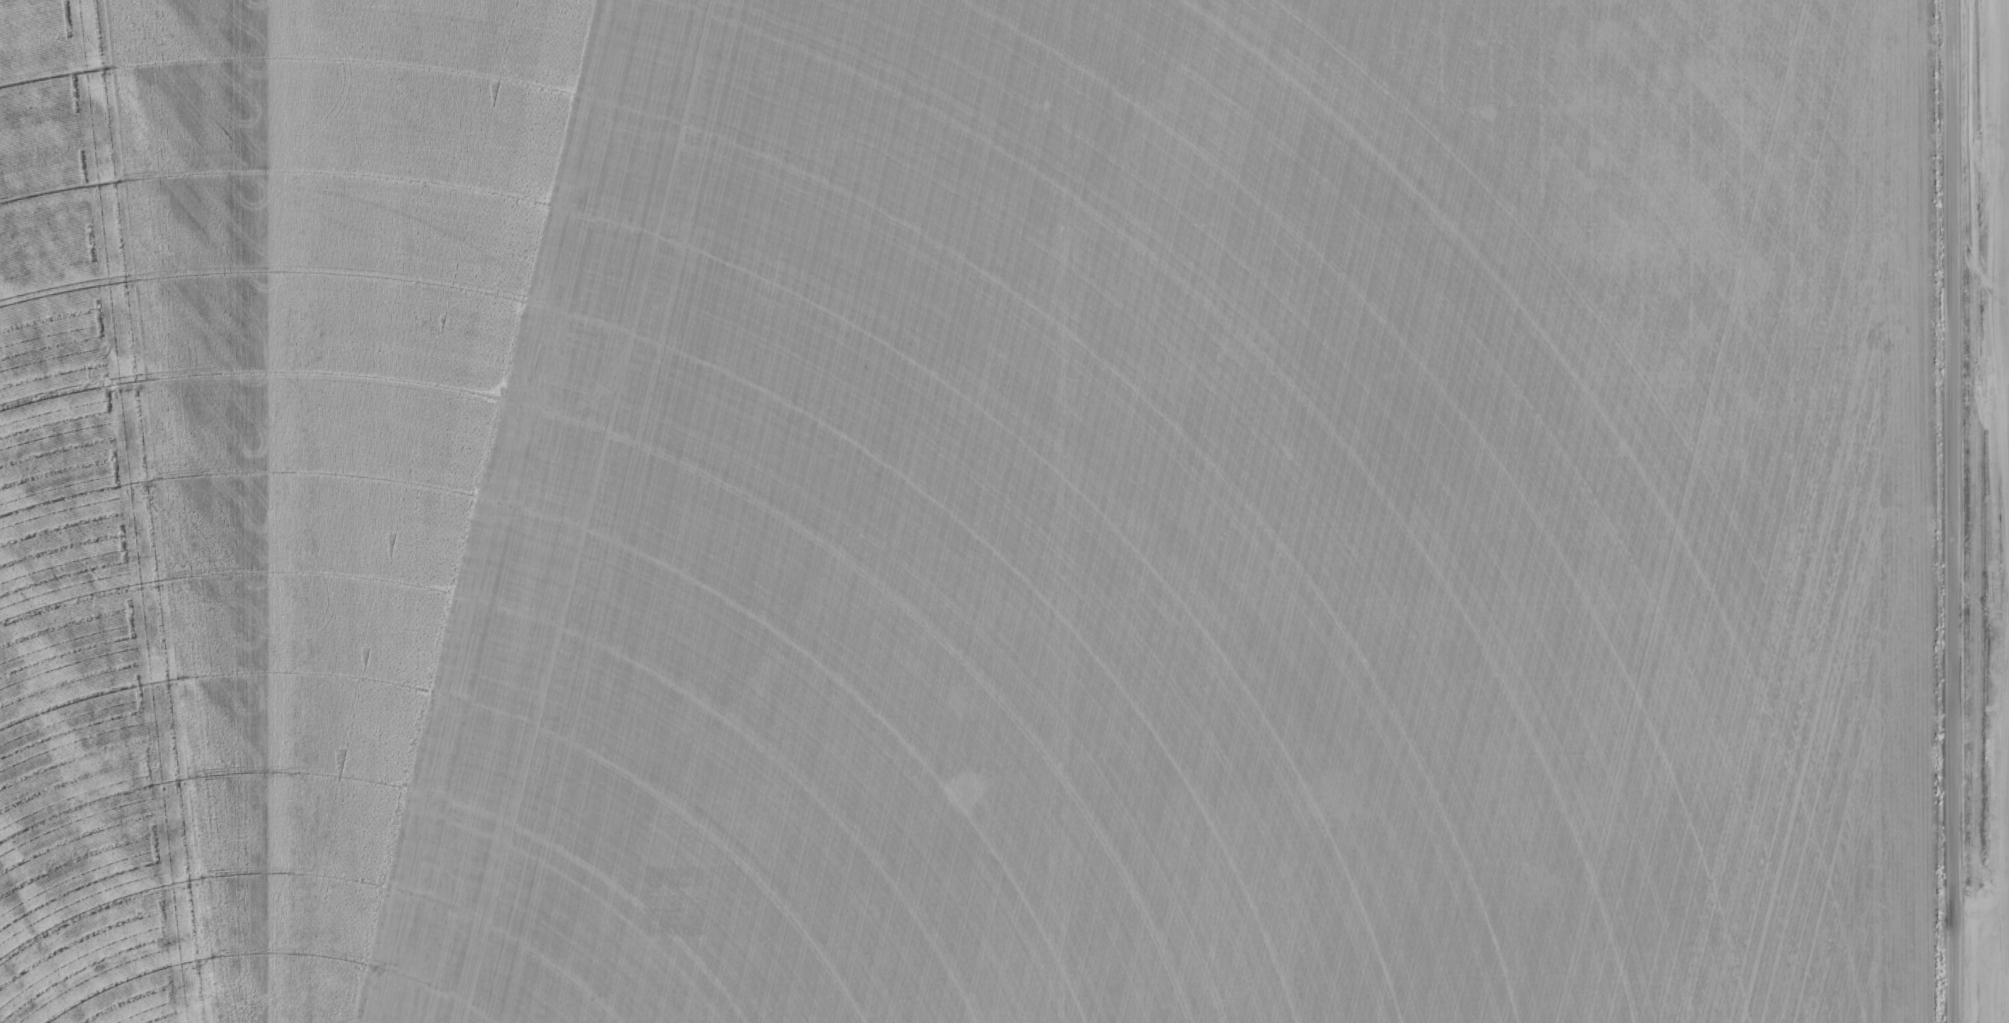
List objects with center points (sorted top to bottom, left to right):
road: (1953, 511)

